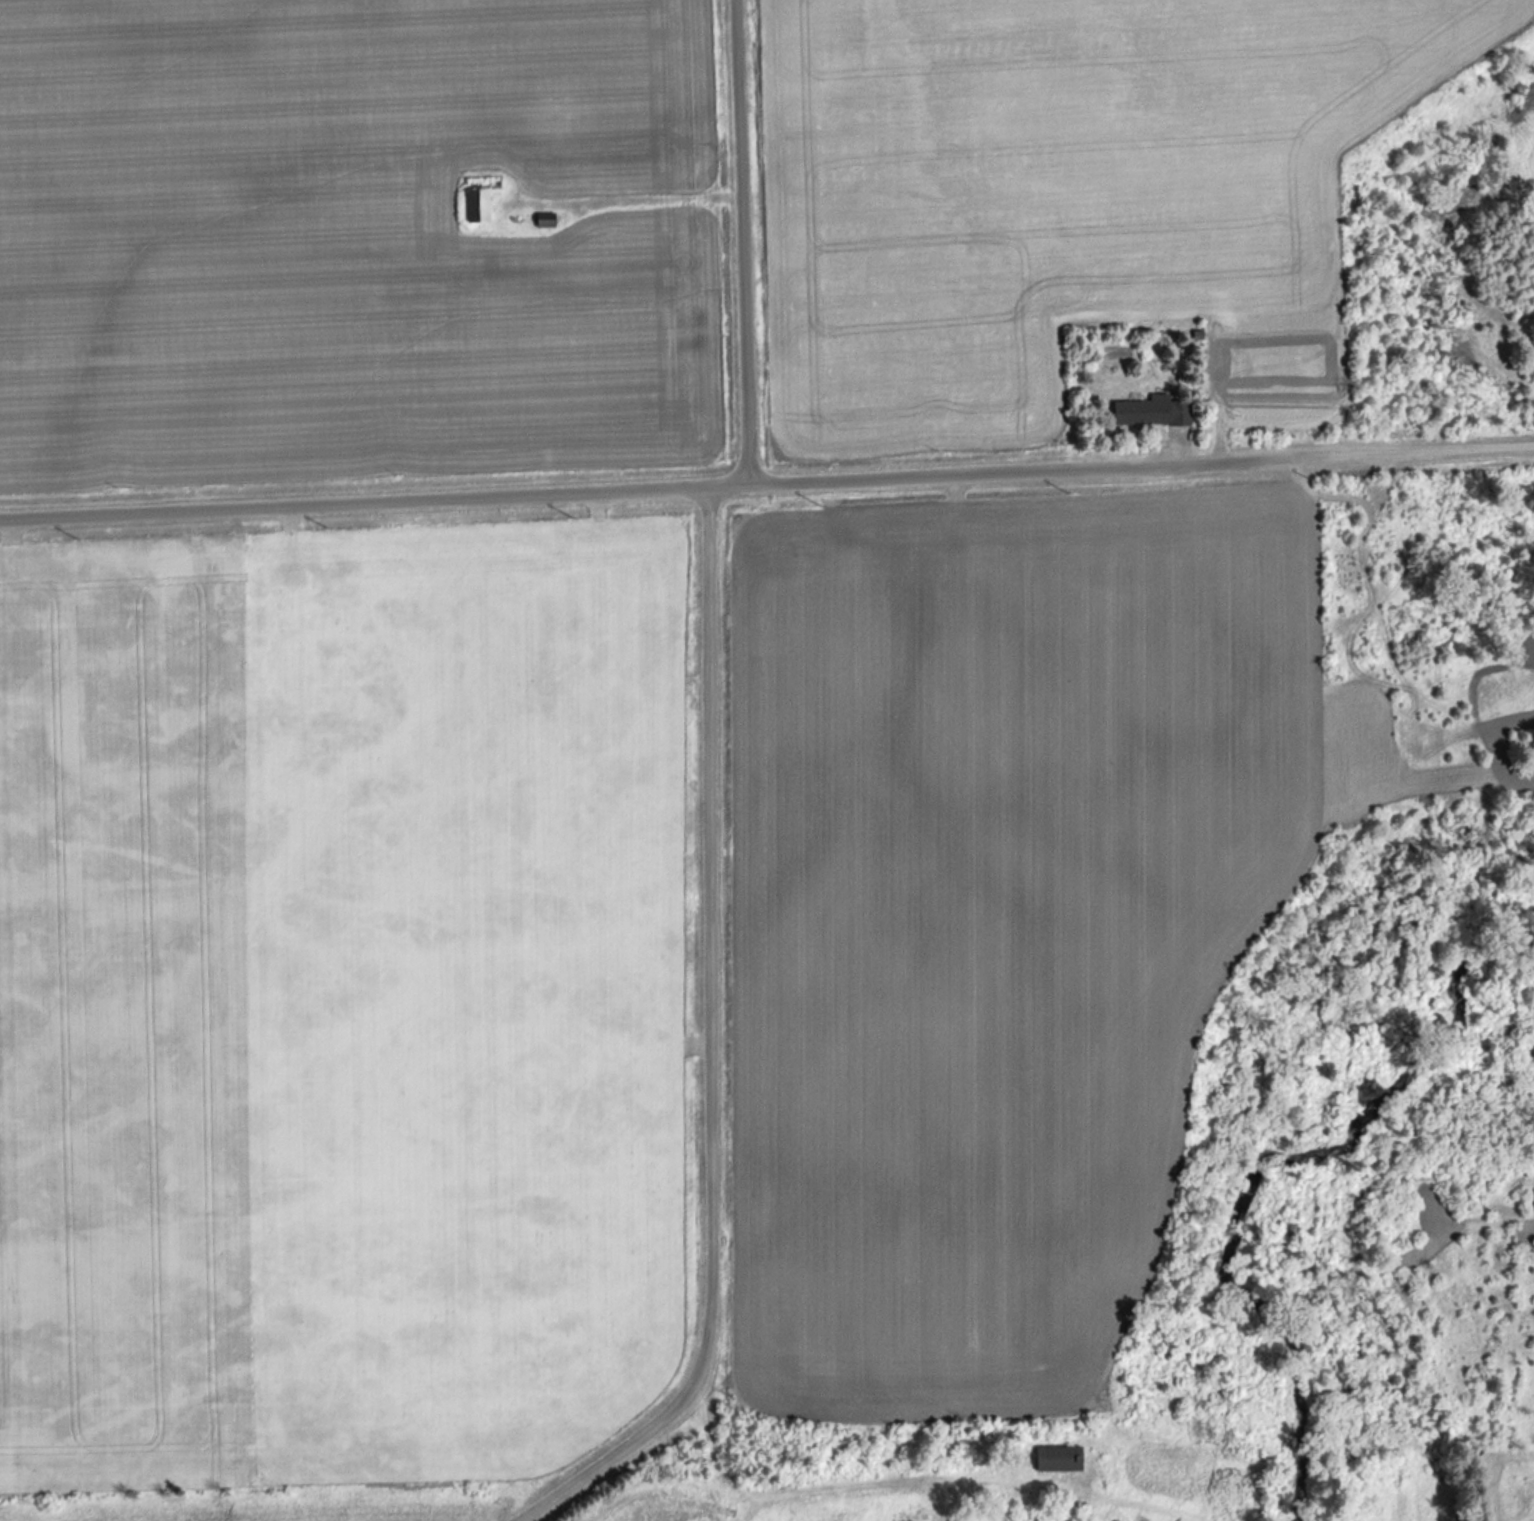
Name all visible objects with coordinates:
crop: (1063, 198)
building: (475, 207)
building: (543, 220)
road: (734, 242)
crop: (358, 247)
building: (1149, 411)
road: (767, 484)
road: (705, 1050)
river: (1265, 1169)
building: (1056, 1458)
road: (872, 1485)

